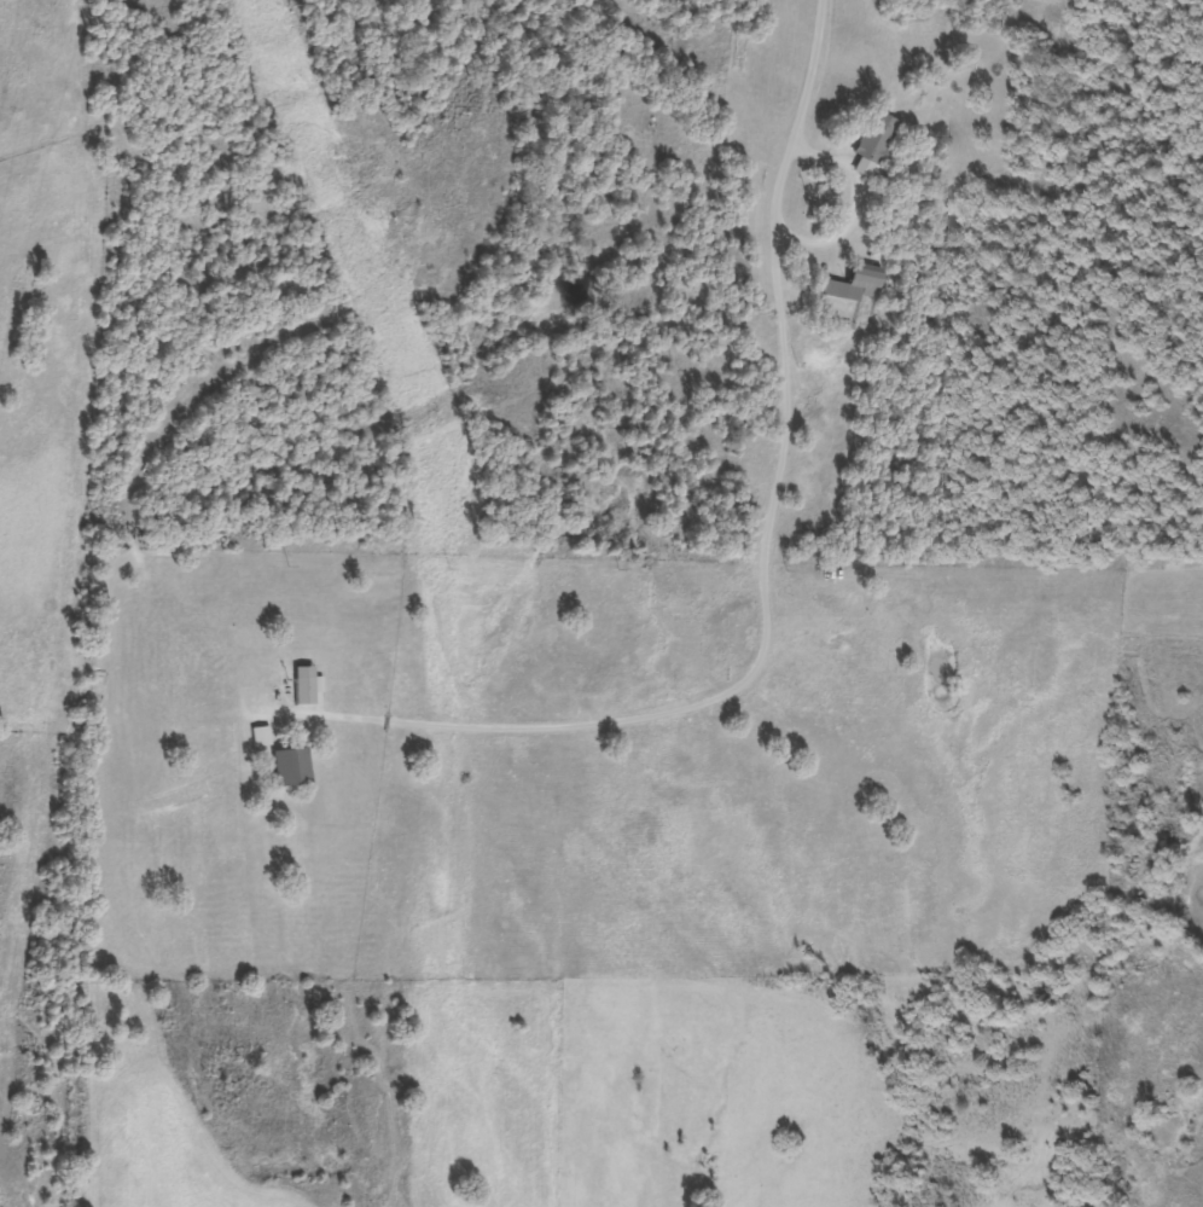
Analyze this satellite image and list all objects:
building: (877, 137)
road: (798, 267)
building: (853, 283)
building: (302, 685)
building: (289, 766)

